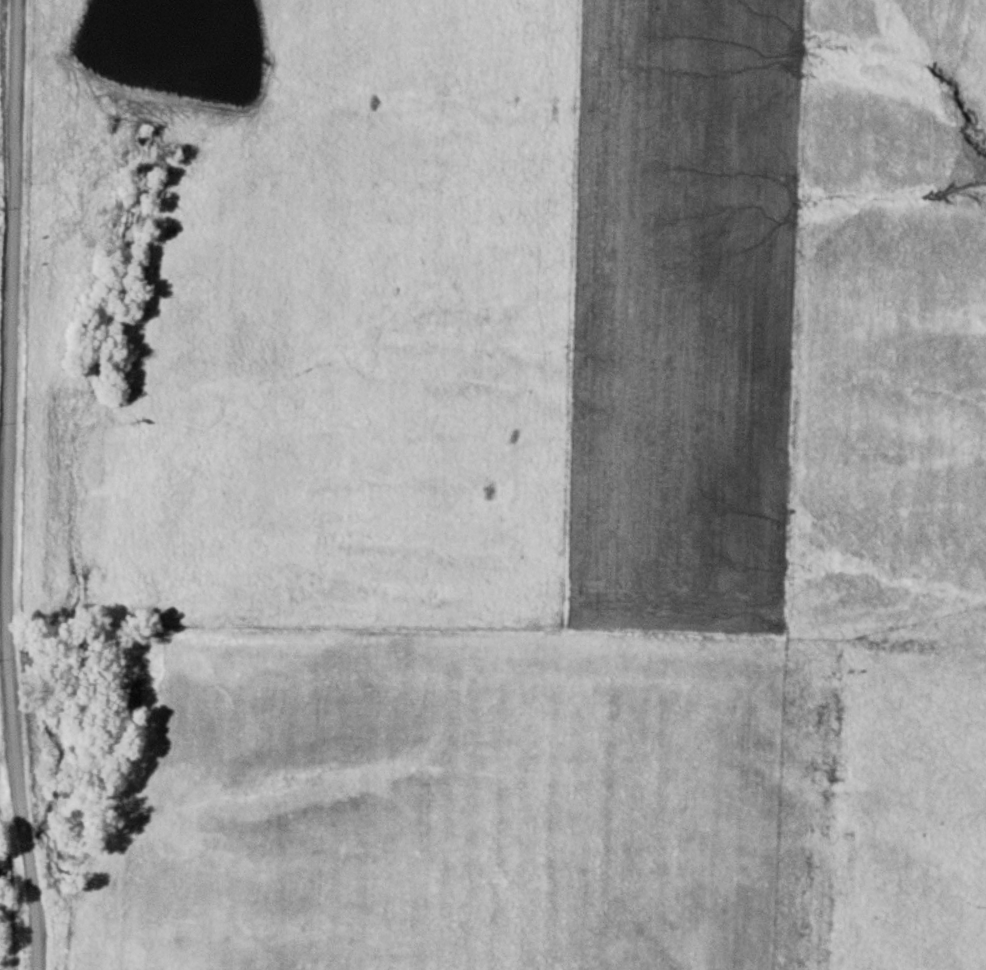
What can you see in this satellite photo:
road: (6, 485)

